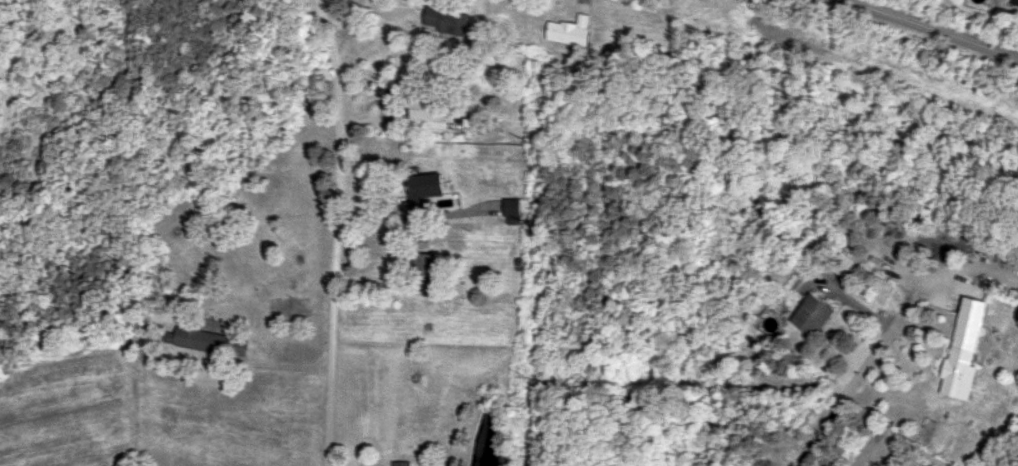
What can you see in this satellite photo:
building: (446, 19)
road: (933, 27)
building: (570, 30)
building: (424, 189)
building: (513, 210)
road: (337, 231)
building: (426, 264)
building: (843, 264)
building: (811, 314)
building: (200, 339)
building: (965, 349)
road: (857, 374)
building: (401, 463)

